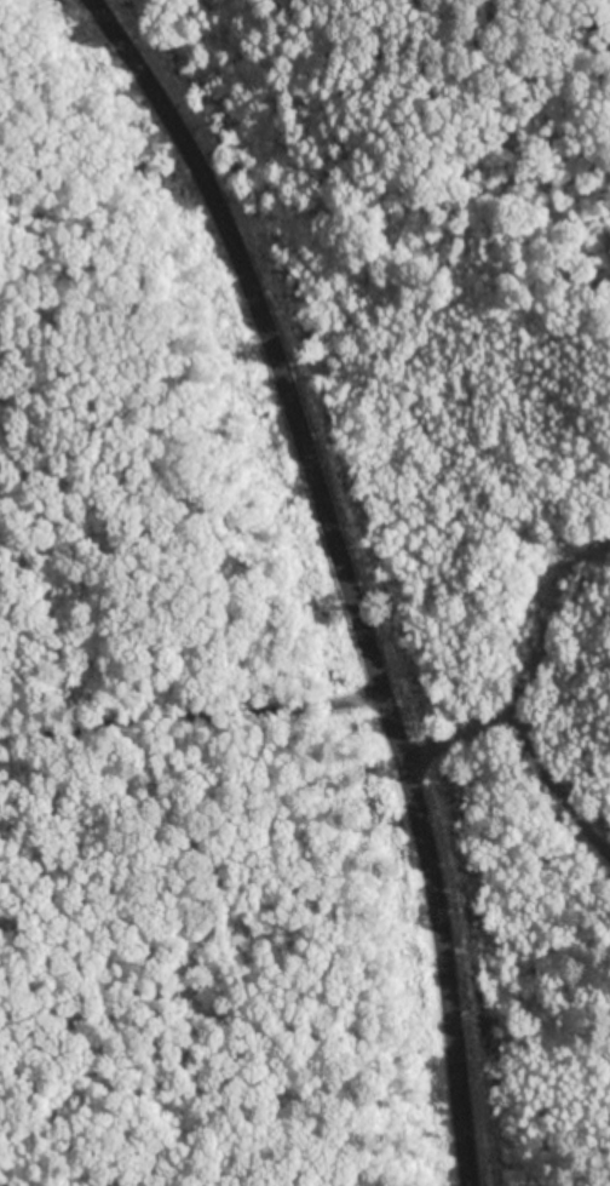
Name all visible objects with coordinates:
road: (340, 575)
road: (189, 726)

